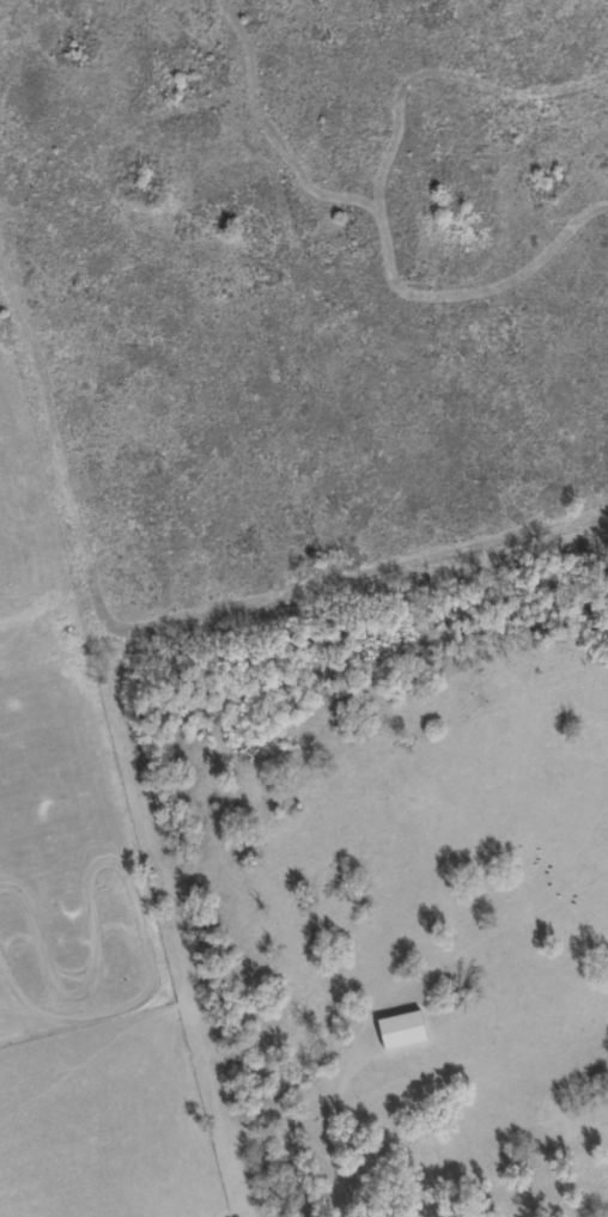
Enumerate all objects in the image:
building: (395, 1030)

